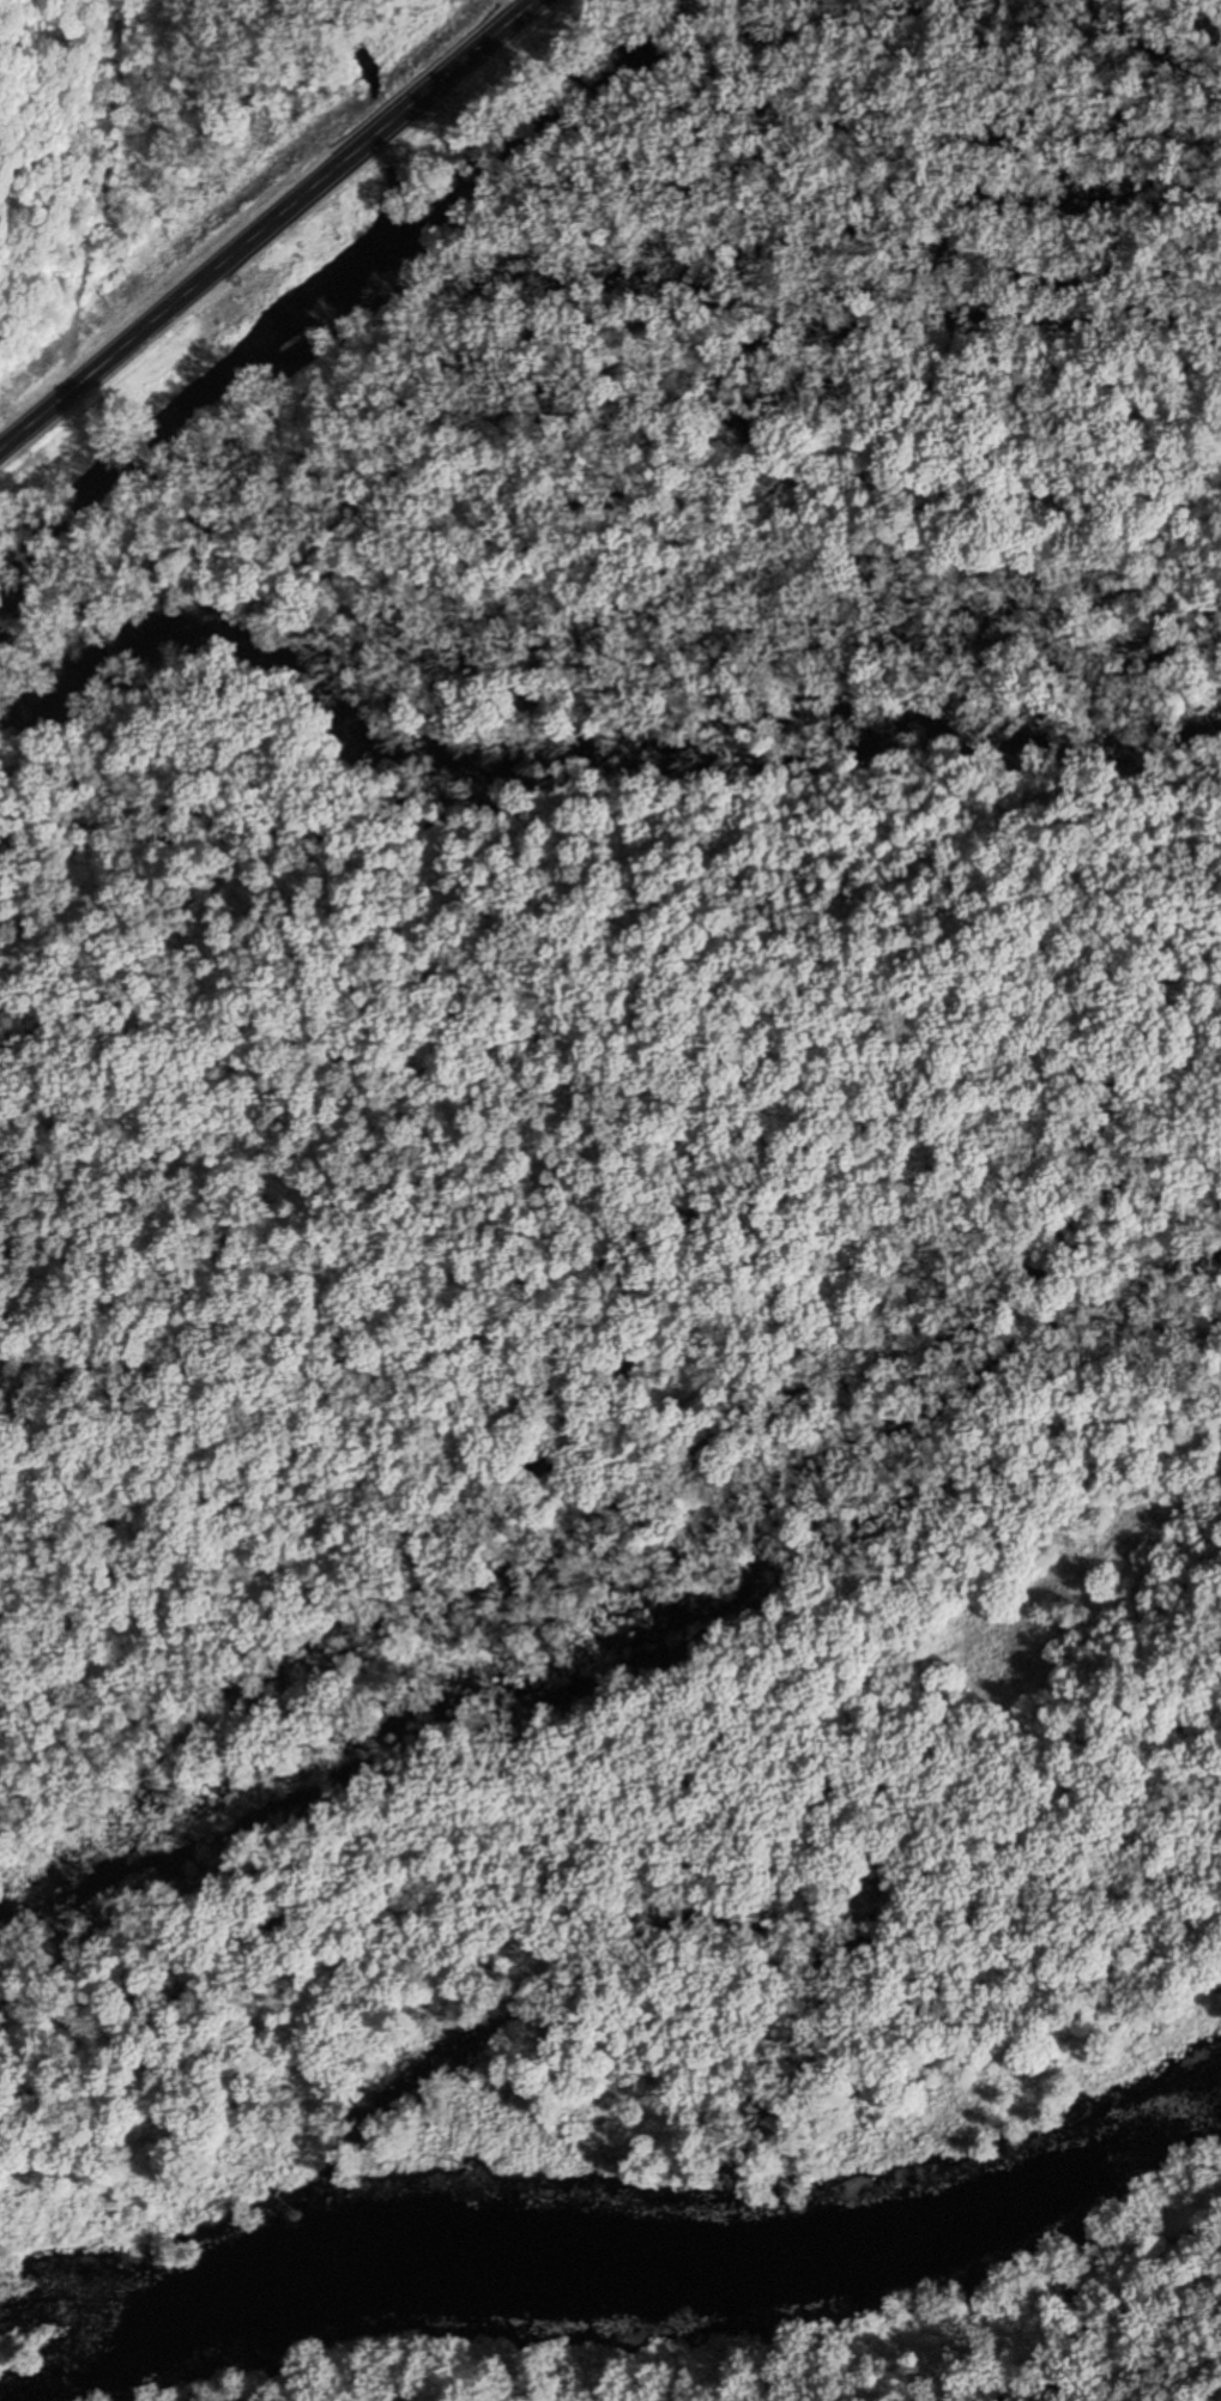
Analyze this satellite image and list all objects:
road: (273, 222)

